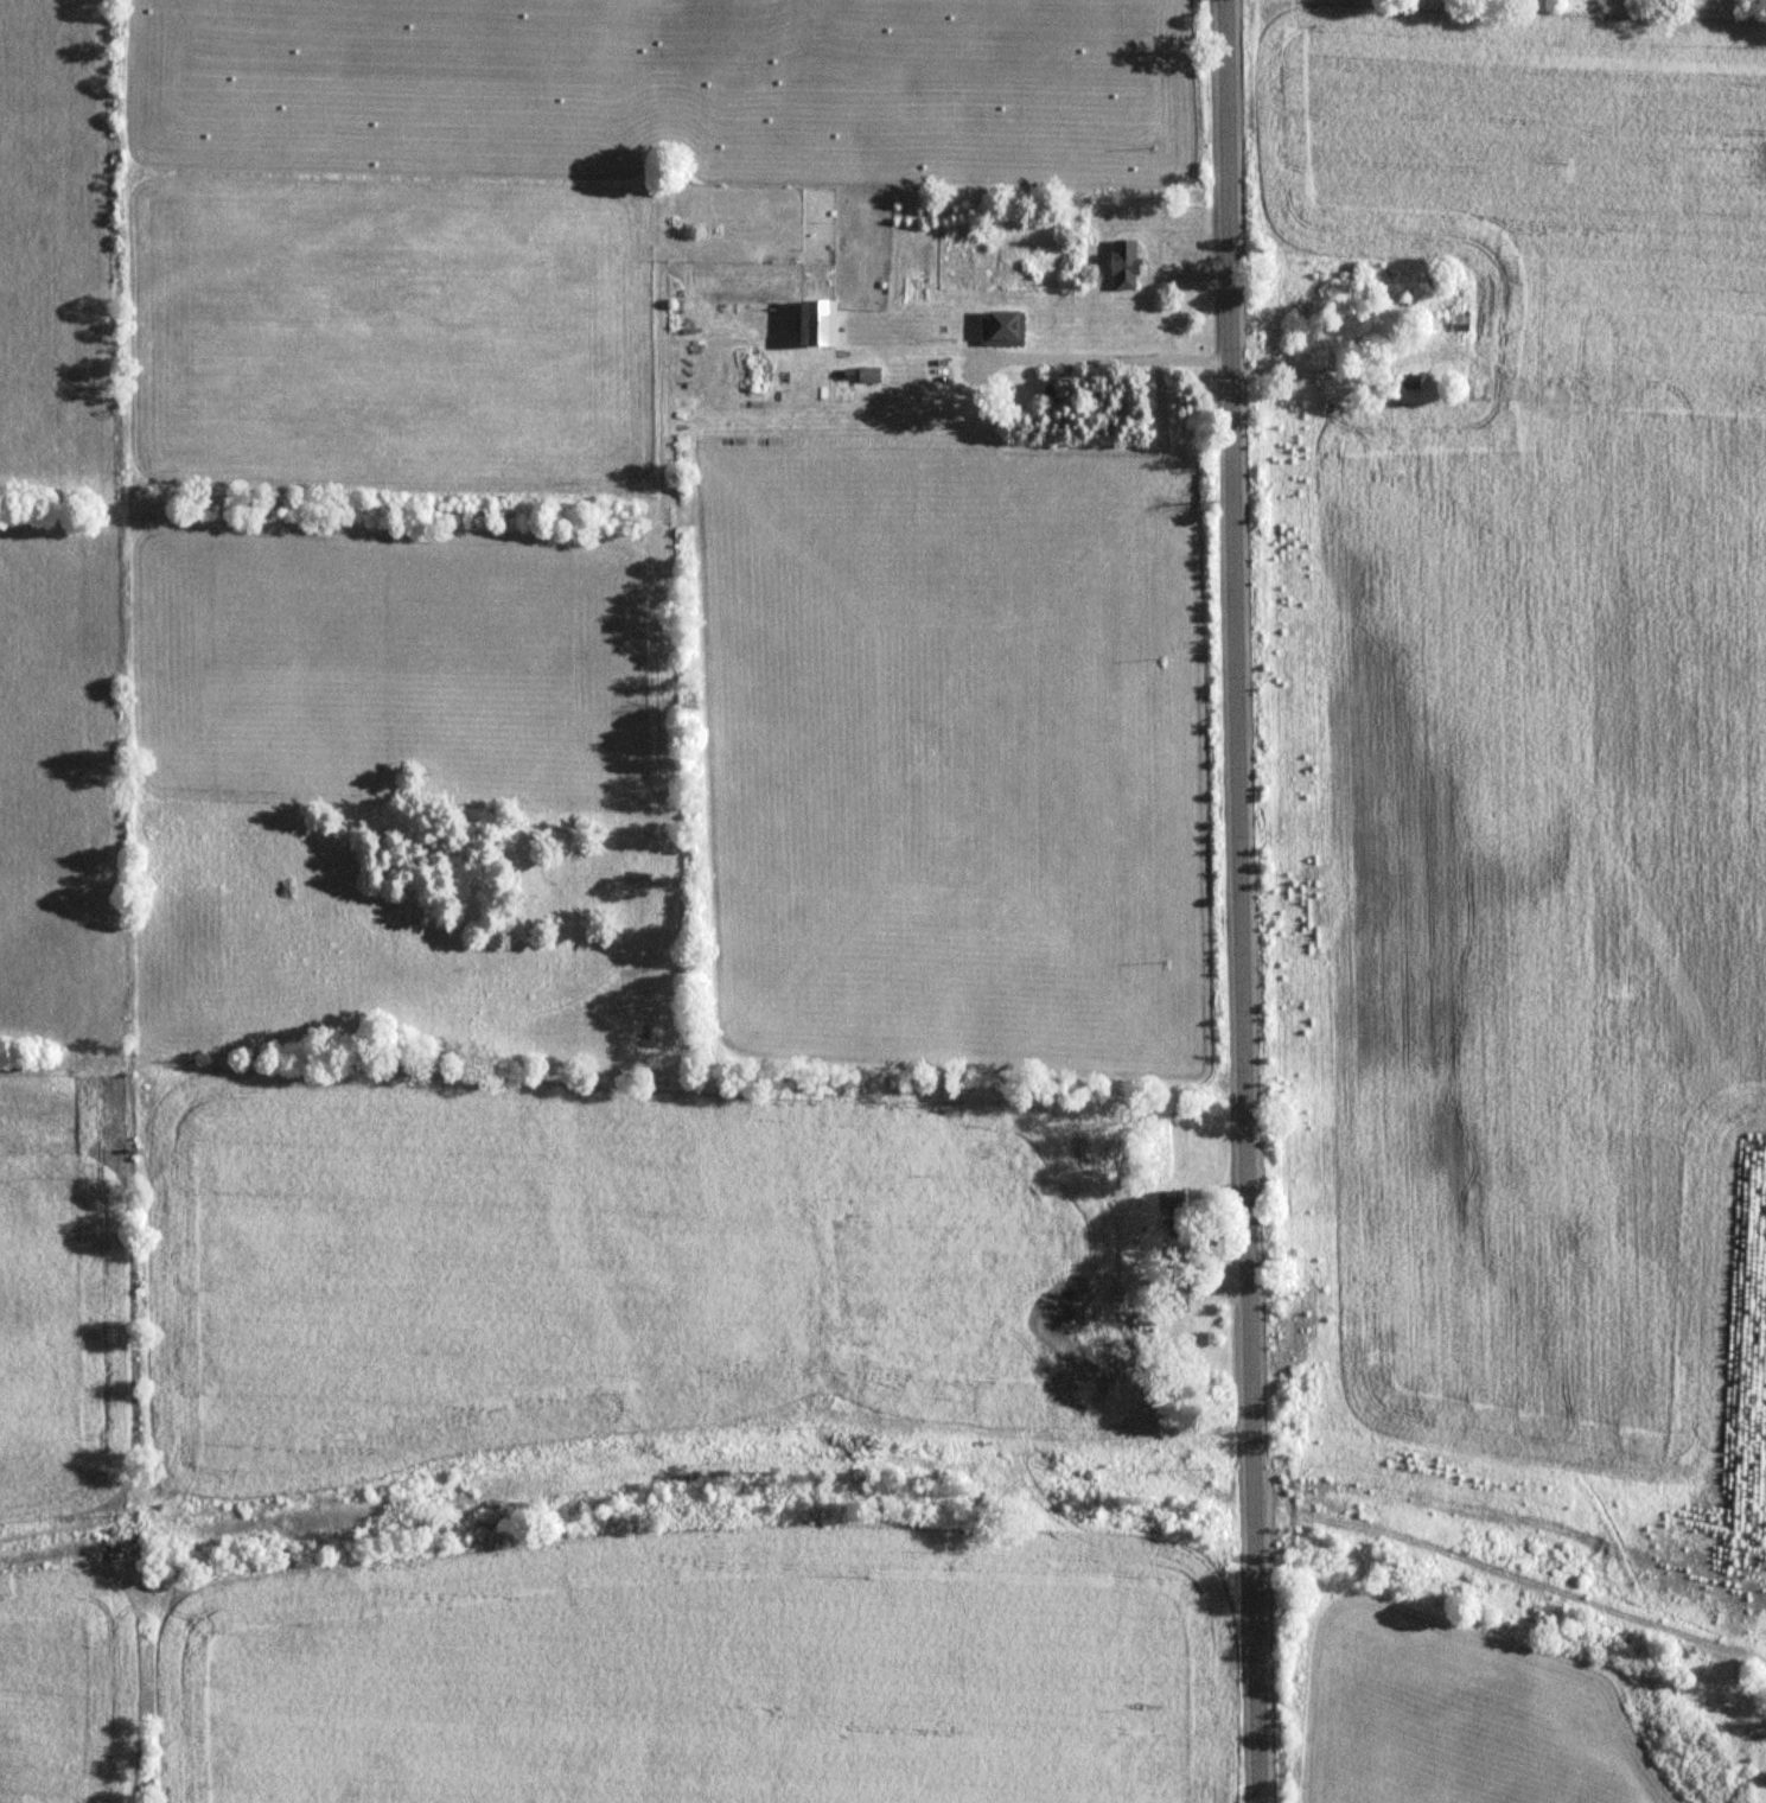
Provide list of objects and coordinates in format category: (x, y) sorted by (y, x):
building: (1122, 265)
building: (1456, 319)
building: (815, 324)
building: (1001, 329)
building: (939, 370)
building: (867, 375)
building: (1409, 381)
road: (1242, 900)
building: (1171, 1199)

